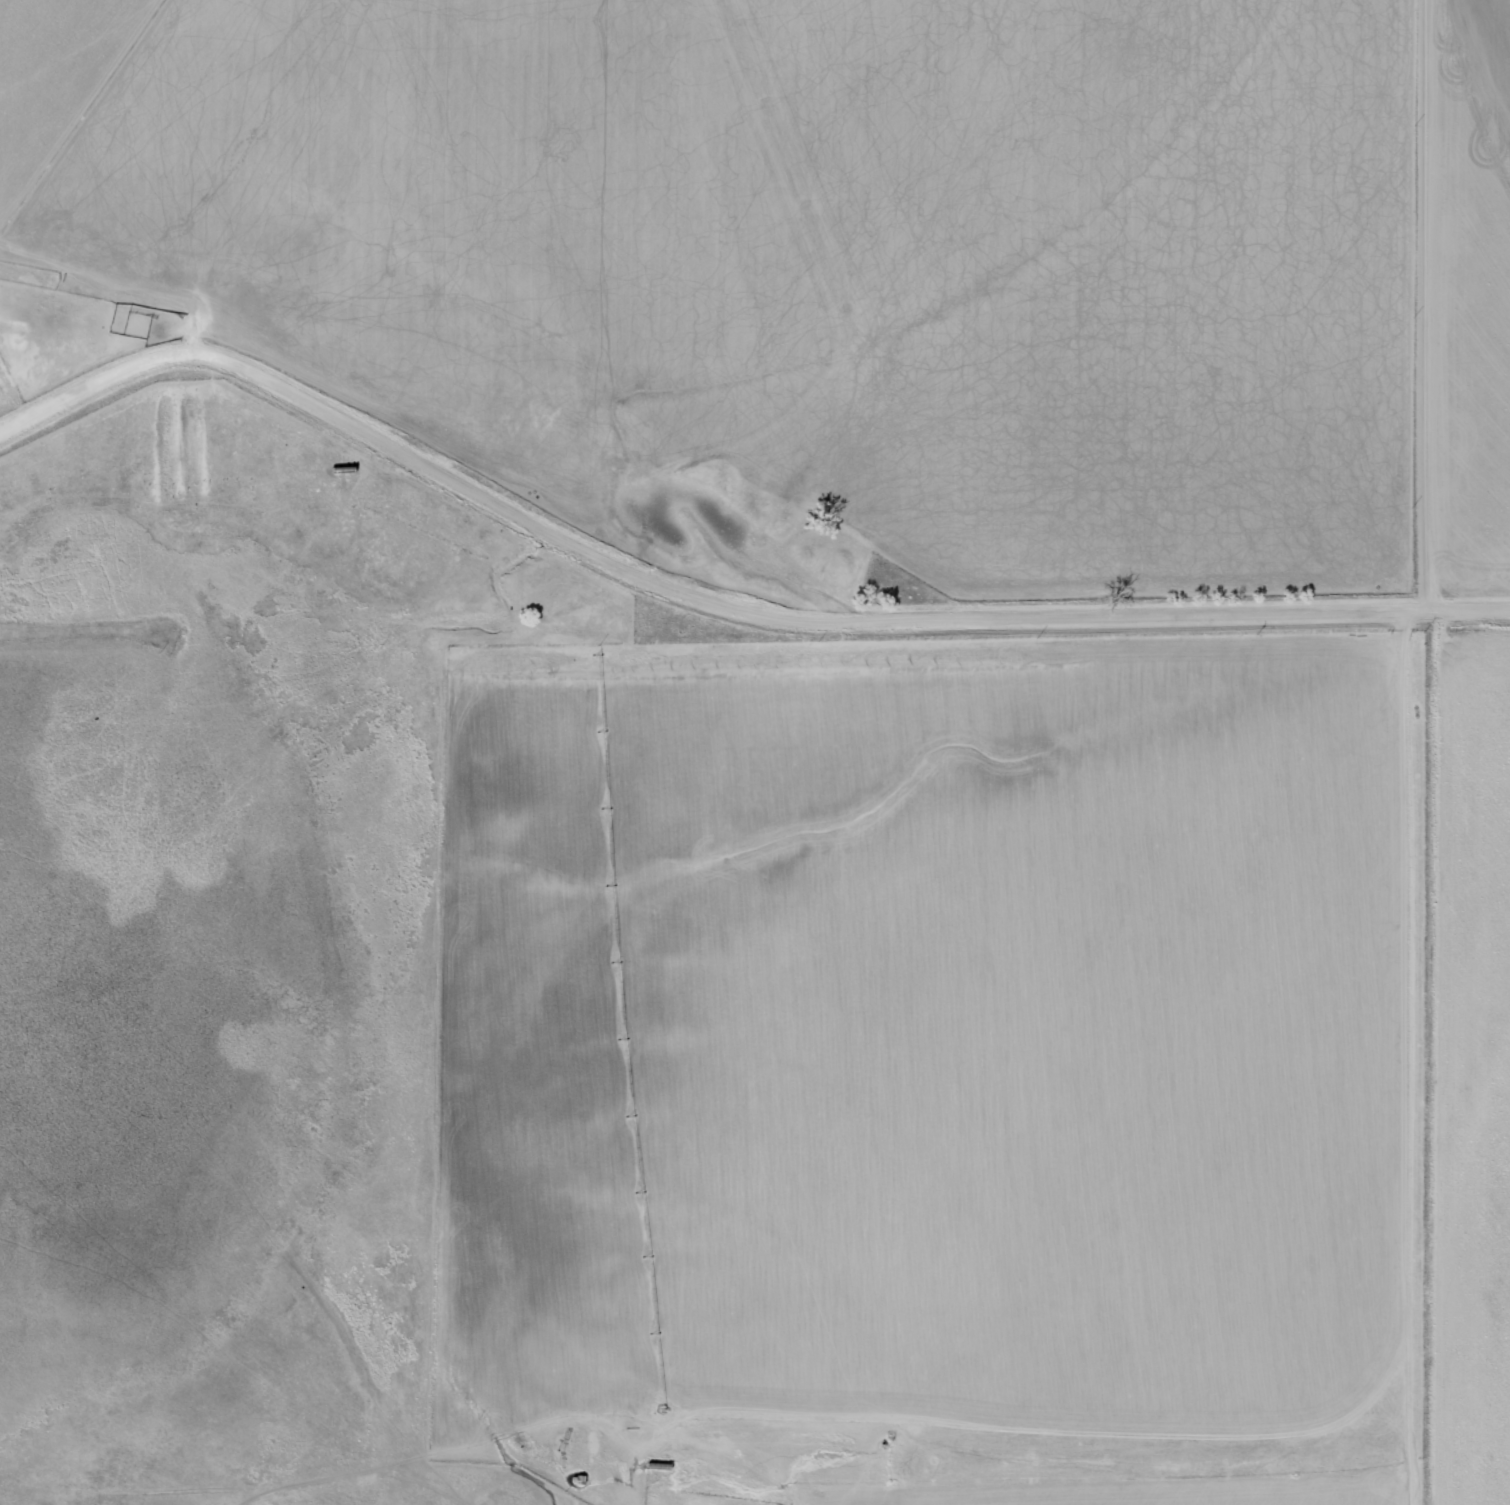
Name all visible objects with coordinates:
road: (716, 603)

